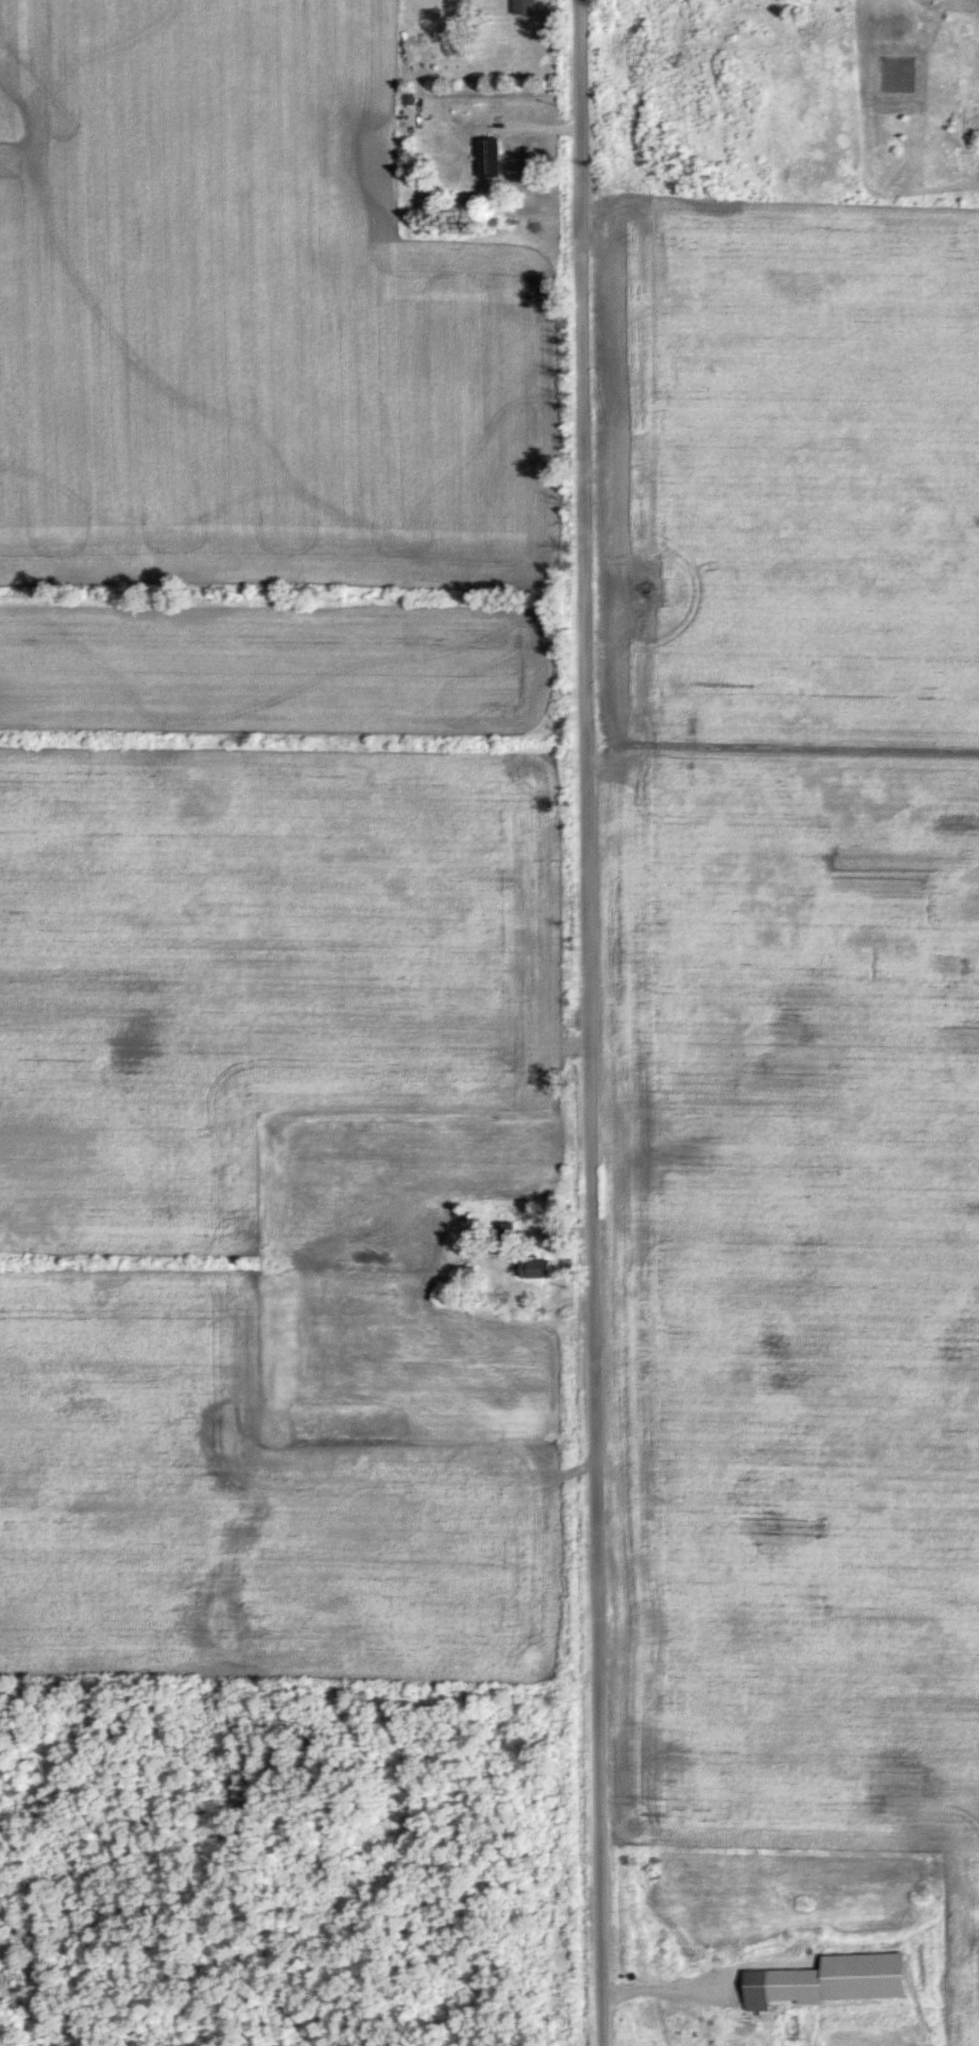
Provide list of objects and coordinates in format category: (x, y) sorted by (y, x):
building: (518, 6)
building: (483, 156)
road: (580, 1023)
building: (520, 1267)
building: (662, 1899)
building: (857, 1975)
building: (762, 1986)

